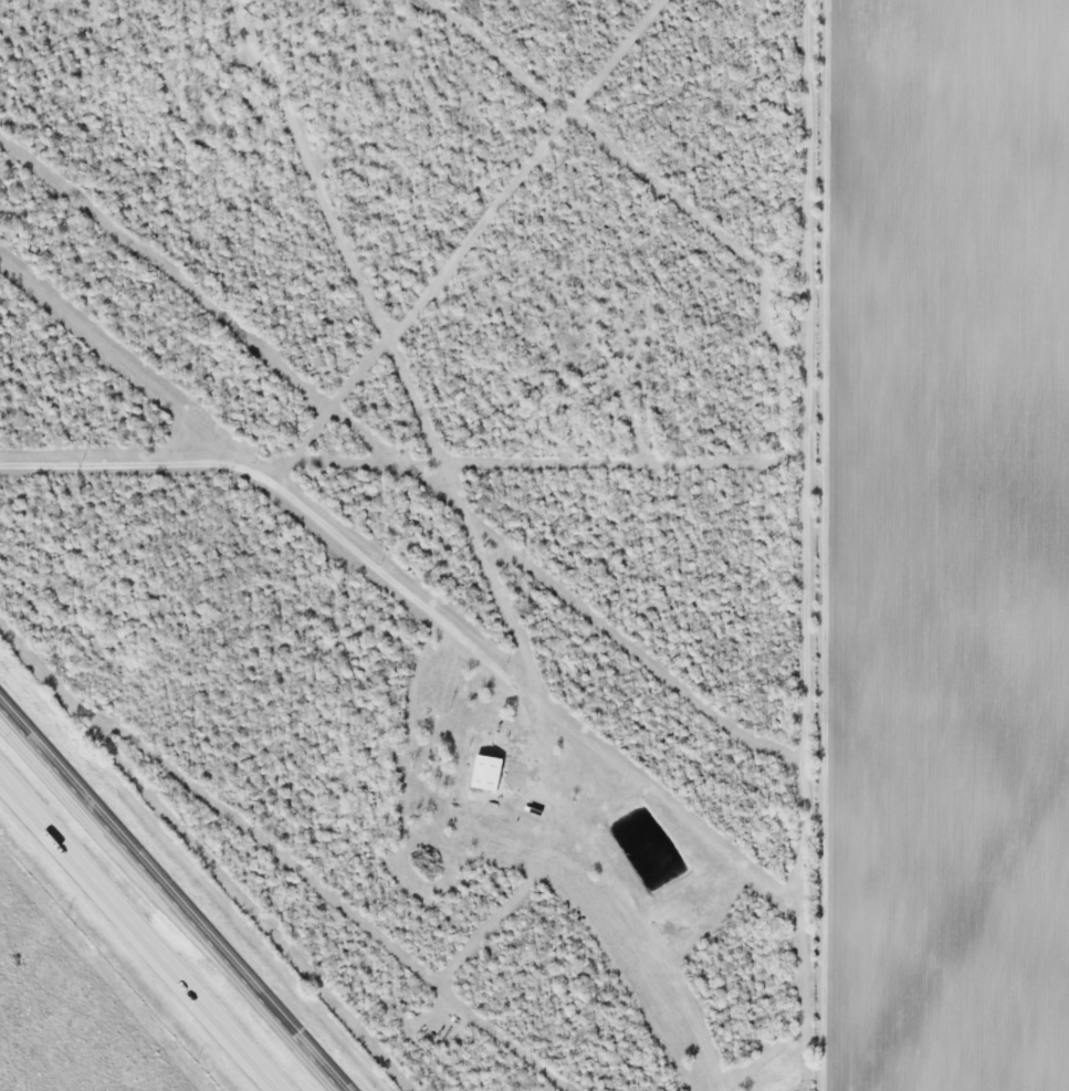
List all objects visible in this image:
road: (175, 892)
road: (138, 934)

